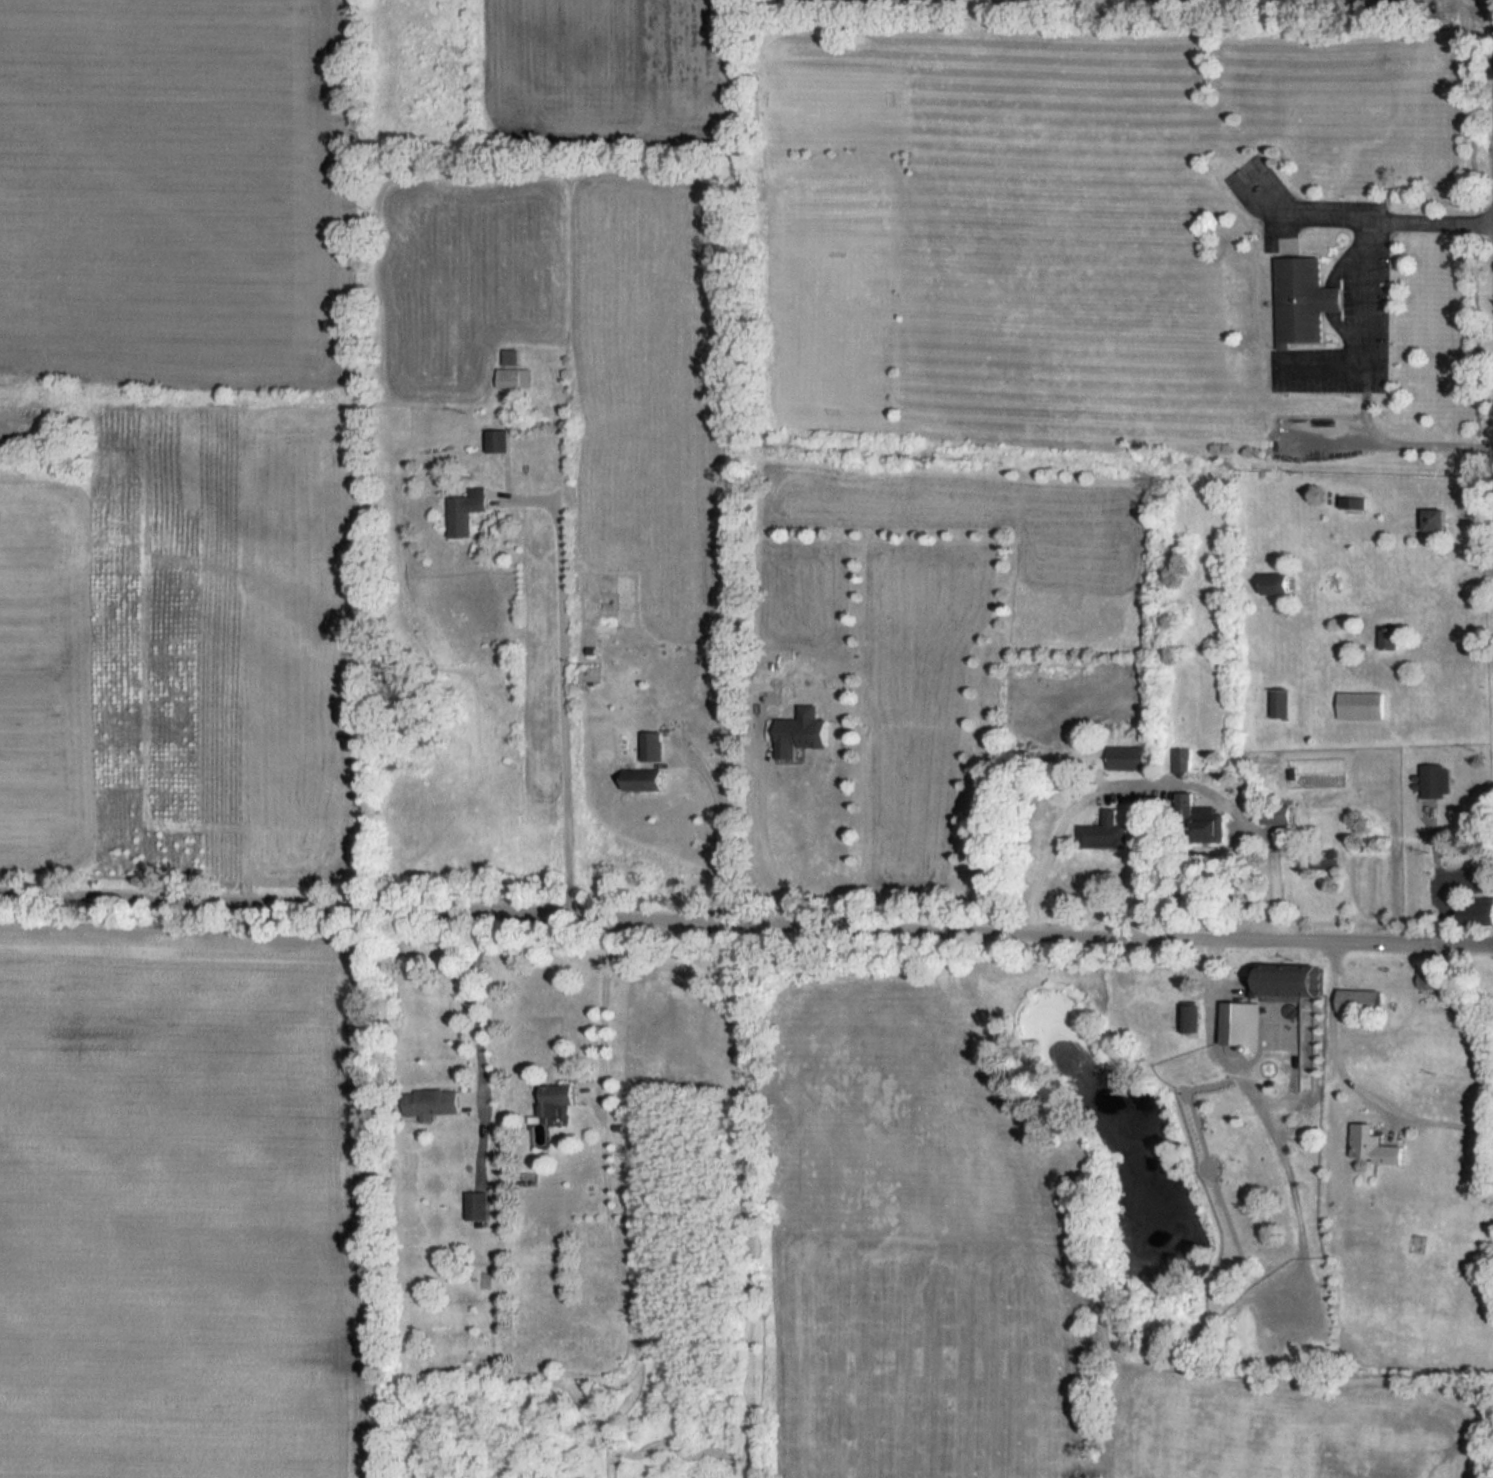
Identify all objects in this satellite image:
road: (1271, 200)
road: (1319, 220)
road: (1442, 221)
flagpole: (1339, 259)
parking lot: (1375, 284)
road: (1330, 298)
building: (1328, 300)
building: (1296, 301)
road: (1365, 341)
building: (510, 357)
building: (514, 378)
road: (1397, 444)
building: (469, 510)
building: (1438, 518)
building: (1279, 582)
building: (1391, 637)
road: (562, 689)
building: (1279, 702)
building: (1361, 705)
building: (1128, 757)
building: (1183, 760)
building: (648, 779)
building: (1432, 779)
road: (1159, 783)
building: (1187, 803)
building: (1106, 832)
road: (717, 833)
road: (1431, 834)
road: (768, 840)
road: (1440, 875)
parking lot: (1461, 882)
road: (1442, 888)
building: (1481, 913)
road: (716, 920)
road: (1462, 942)
building: (1433, 980)
building: (1270, 992)
building: (1359, 1000)
road: (608, 1004)
building: (1191, 1017)
road: (478, 1042)
road: (1227, 1060)
road: (1353, 1085)
building: (558, 1098)
building: (439, 1102)
building: (1376, 1143)
road: (1207, 1152)
road: (1296, 1197)
building: (478, 1205)

